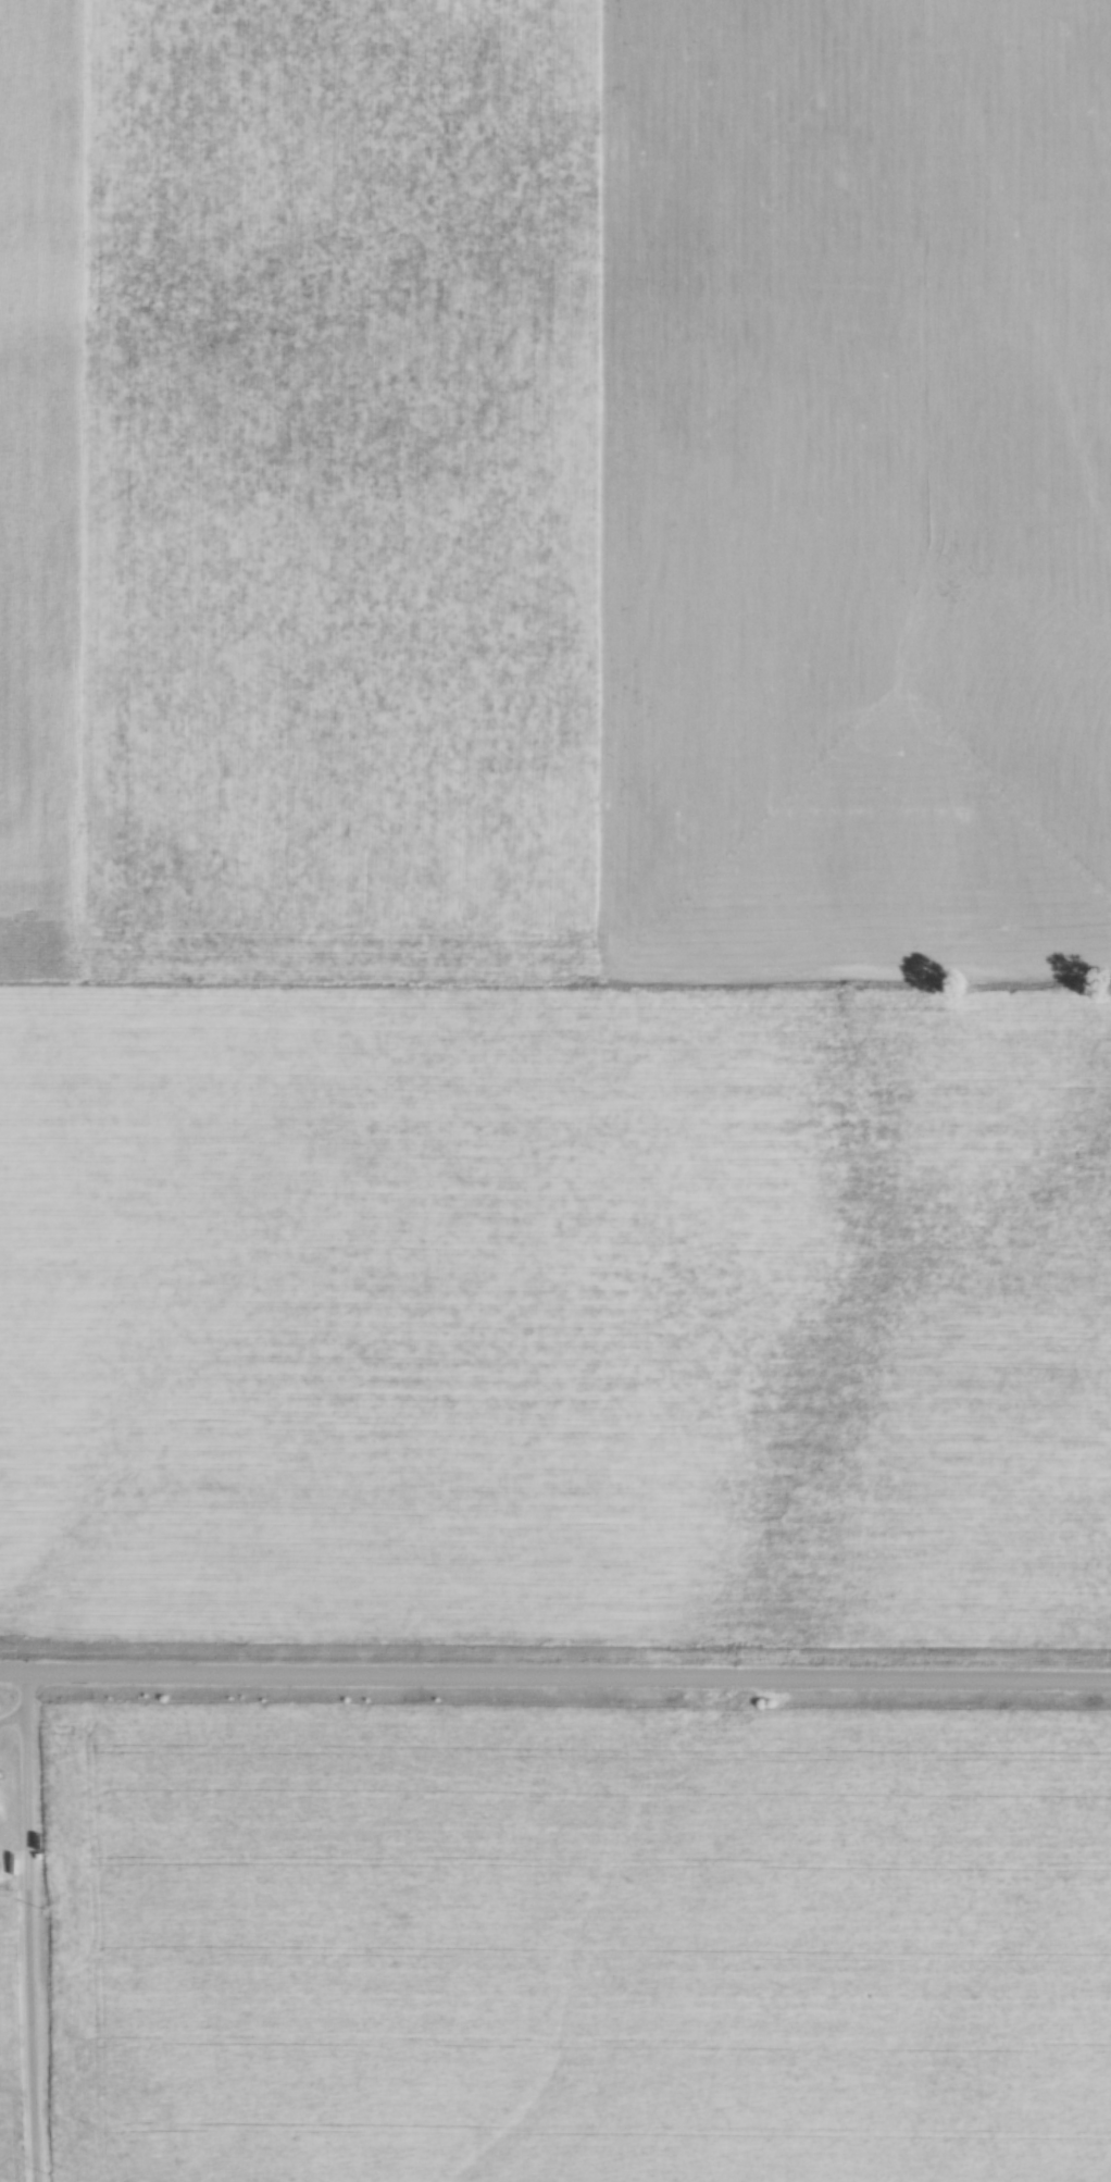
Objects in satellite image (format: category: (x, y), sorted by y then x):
road: (554, 1674)
building: (0, 1809)
road: (26, 1927)

